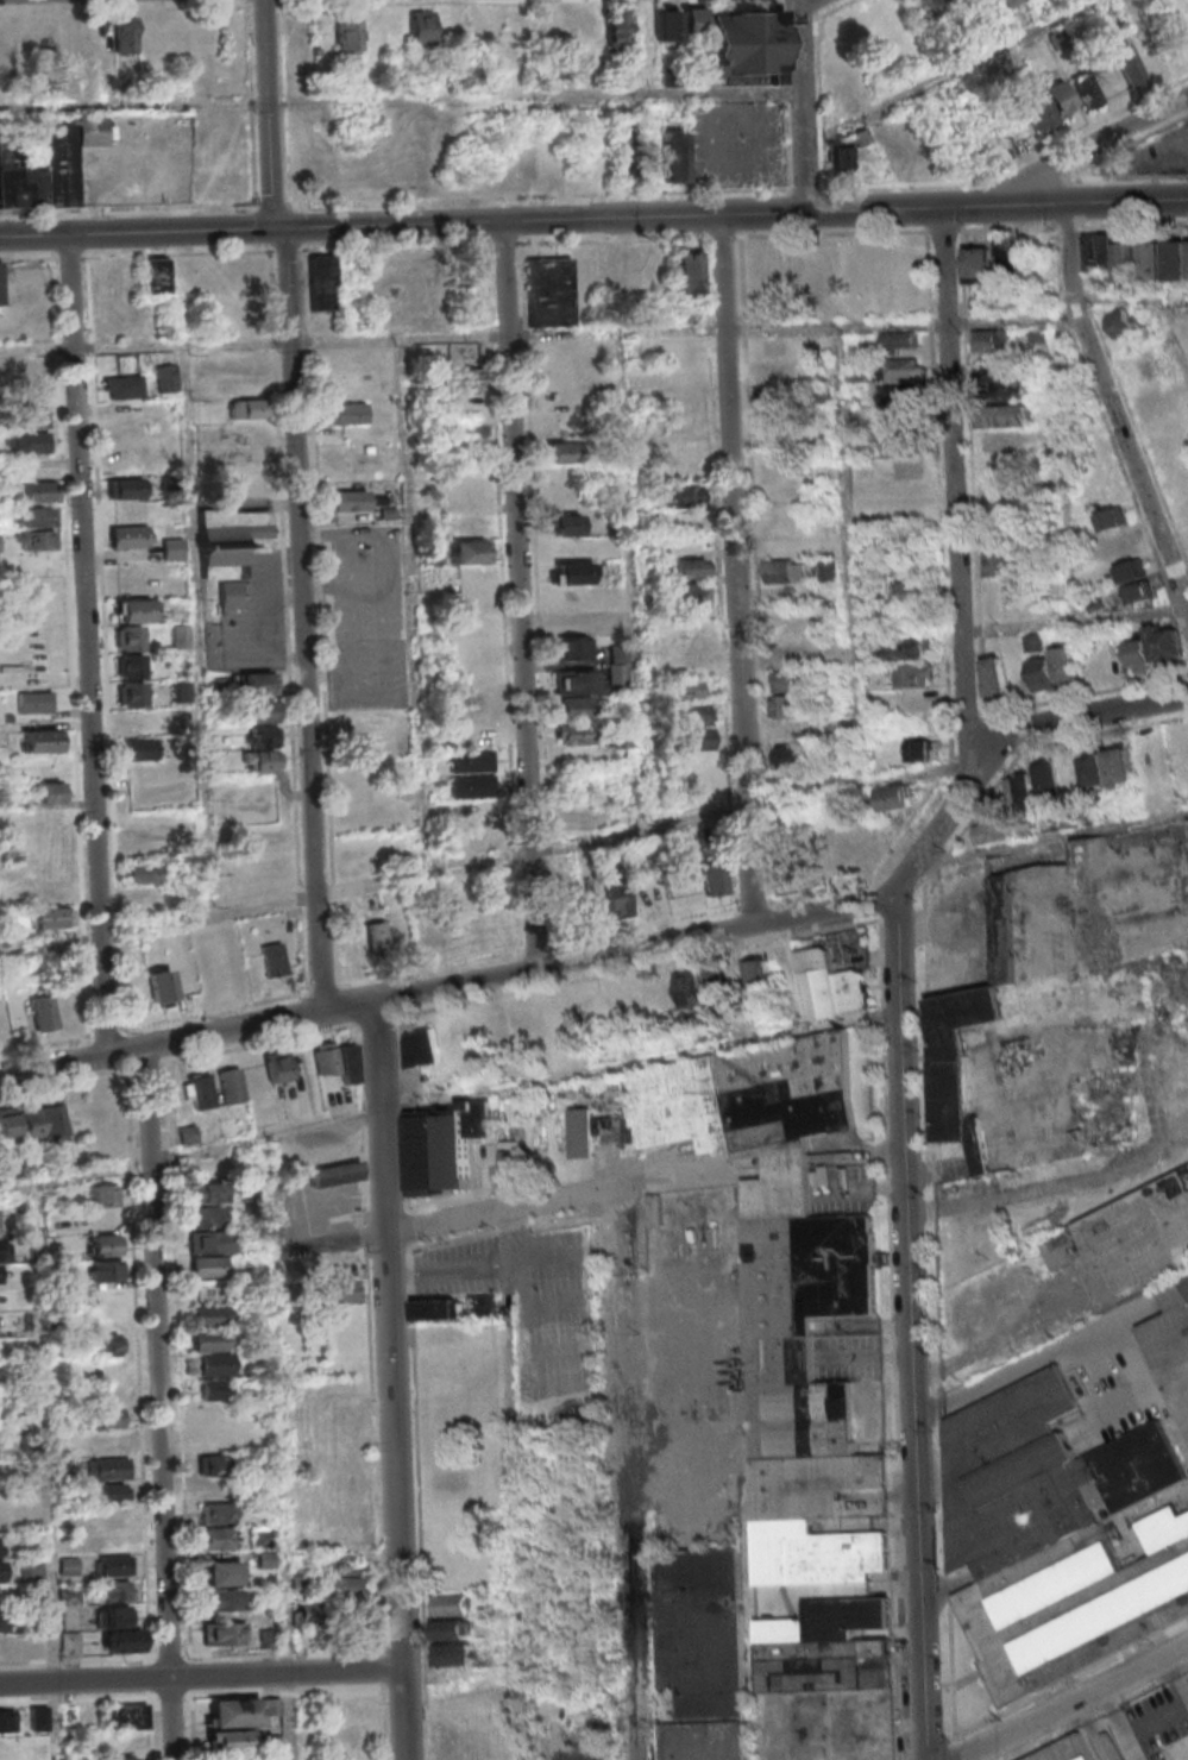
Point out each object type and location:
building: (1005, 2)
building: (953, 4)
building: (929, 7)
road: (824, 12)
building: (618, 25)
building: (667, 25)
building: (582, 26)
building: (422, 27)
building: (77, 32)
building: (348, 33)
building: (125, 34)
building: (740, 48)
building: (1150, 56)
building: (1127, 64)
road: (944, 73)
building: (671, 75)
building: (1089, 89)
road: (541, 98)
building: (1060, 98)
road: (802, 105)
road: (140, 108)
building: (1035, 108)
building: (998, 146)
road: (1079, 149)
building: (673, 157)
building: (838, 157)
road: (1013, 164)
building: (48, 165)
building: (325, 166)
road: (1071, 171)
road: (796, 187)
road: (885, 207)
road: (291, 227)
traffic signals: (288, 228)
building: (1124, 256)
building: (1016, 258)
building: (1176, 258)
road: (30, 260)
building: (978, 264)
building: (687, 270)
building: (818, 270)
building: (157, 275)
building: (474, 275)
building: (325, 281)
building: (0, 283)
building: (549, 291)
road: (1134, 297)
road: (61, 303)
building: (1124, 323)
road: (539, 338)
building: (899, 340)
building: (993, 340)
road: (1174, 341)
building: (772, 346)
road: (64, 351)
building: (897, 367)
building: (166, 377)
building: (466, 378)
building: (1004, 385)
building: (122, 386)
building: (897, 395)
building: (771, 397)
road: (1111, 401)
building: (246, 408)
building: (348, 413)
building: (32, 415)
building: (1005, 415)
building: (1002, 440)
building: (29, 442)
building: (900, 444)
building: (560, 452)
building: (903, 469)
building: (689, 471)
building: (466, 478)
building: (247, 483)
building: (126, 488)
building: (32, 490)
building: (1001, 490)
road: (956, 495)
building: (681, 496)
building: (561, 498)
building: (347, 499)
road: (298, 504)
building: (130, 511)
building: (34, 515)
building: (1112, 518)
building: (565, 524)
building: (128, 536)
building: (38, 539)
building: (0, 542)
building: (906, 545)
building: (172, 547)
building: (231, 547)
building: (1118, 547)
building: (469, 551)
road: (849, 560)
building: (1001, 564)
building: (690, 567)
road: (735, 568)
building: (828, 568)
building: (786, 571)
building: (1131, 571)
building: (573, 572)
building: (471, 574)
building: (426, 579)
building: (130, 582)
road: (629, 584)
building: (909, 591)
road: (517, 593)
building: (1138, 593)
building: (690, 595)
road: (414, 608)
building: (132, 610)
road: (1077, 622)
road: (195, 631)
building: (180, 635)
building: (571, 635)
building: (128, 637)
building: (687, 643)
road: (75, 647)
road: (86, 647)
building: (909, 648)
building: (1156, 648)
building: (786, 656)
building: (128, 665)
building: (617, 666)
building: (1055, 668)
building: (912, 674)
building: (995, 677)
building: (788, 680)
building: (574, 681)
building: (252, 684)
building: (685, 689)
building: (130, 693)
building: (34, 702)
building: (574, 708)
building: (258, 711)
building: (183, 716)
building: (139, 723)
building: (693, 727)
building: (574, 733)
building: (790, 733)
road: (998, 737)
building: (40, 740)
building: (139, 749)
building: (262, 749)
building: (919, 749)
building: (471, 760)
building: (694, 763)
building: (1106, 769)
building: (1046, 782)
building: (472, 786)
building: (49, 792)
building: (1019, 792)
building: (894, 797)
building: (46, 817)
building: (142, 823)
building: (989, 830)
building: (479, 840)
road: (1055, 840)
road: (485, 862)
building: (144, 872)
building: (715, 878)
building: (642, 893)
building: (617, 897)
building: (147, 898)
building: (593, 904)
building: (51, 916)
building: (473, 923)
building: (377, 935)
building: (426, 935)
road: (87, 938)
building: (353, 947)
road: (634, 948)
building: (274, 958)
building: (760, 973)
building: (699, 983)
building: (829, 985)
building: (161, 986)
road: (347, 1005)
building: (1062, 1005)
building: (68, 1006)
road: (464, 1006)
building: (43, 1012)
building: (520, 1024)
road: (233, 1031)
building: (420, 1046)
road: (125, 1055)
building: (337, 1060)
building: (277, 1066)
road: (52, 1069)
building: (231, 1085)
building: (197, 1090)
building: (106, 1112)
road: (379, 1117)
building: (44, 1123)
building: (8, 1124)
building: (617, 1131)
building: (580, 1132)
building: (445, 1146)
road: (189, 1154)
road: (855, 1154)
building: (510, 1156)
road: (786, 1159)
road: (677, 1167)
building: (335, 1173)
building: (205, 1192)
building: (103, 1195)
road: (498, 1213)
building: (206, 1217)
road: (934, 1221)
road: (413, 1238)
road: (328, 1240)
building: (208, 1242)
road: (370, 1242)
building: (1127, 1243)
building: (102, 1244)
building: (208, 1265)
building: (103, 1270)
building: (785, 1289)
building: (207, 1290)
building: (338, 1290)
building: (483, 1305)
building: (440, 1308)
building: (209, 1316)
road: (909, 1327)
building: (1173, 1339)
building: (106, 1344)
road: (1058, 1351)
building: (212, 1352)
road: (156, 1364)
building: (212, 1389)
building: (210, 1413)
road: (928, 1414)
building: (108, 1416)
building: (219, 1439)
building: (105, 1442)
building: (213, 1464)
building: (107, 1469)
road: (50, 1471)
road: (627, 1482)
building: (109, 1492)
road: (395, 1496)
road: (420, 1503)
road: (284, 1504)
road: (378, 1504)
building: (216, 1511)
building: (109, 1529)
road: (517, 1529)
building: (1058, 1535)
building: (219, 1538)
building: (348, 1538)
building: (113, 1565)
building: (1, 1566)
building: (68, 1566)
building: (31, 1569)
building: (222, 1572)
building: (342, 1584)
building: (113, 1590)
building: (2, 1596)
building: (222, 1599)
building: (450, 1604)
building: (308, 1613)
building: (2, 1621)
building: (450, 1629)
building: (117, 1630)
building: (222, 1633)
building: (705, 1636)
building: (268, 1638)
building: (70, 1643)
building: (826, 1648)
building: (454, 1654)
road: (201, 1676)
road: (1073, 1702)
building: (272, 1705)
building: (356, 1709)
building: (234, 1712)
building: (130, 1715)
building: (39, 1717)
road: (170, 1718)
building: (7, 1721)
building: (228, 1740)
building: (270, 1742)
building: (709, 1742)
building: (121, 1743)
building: (1098, 1745)
building: (1, 1748)
building: (463, 1750)
building: (118, 1759)

